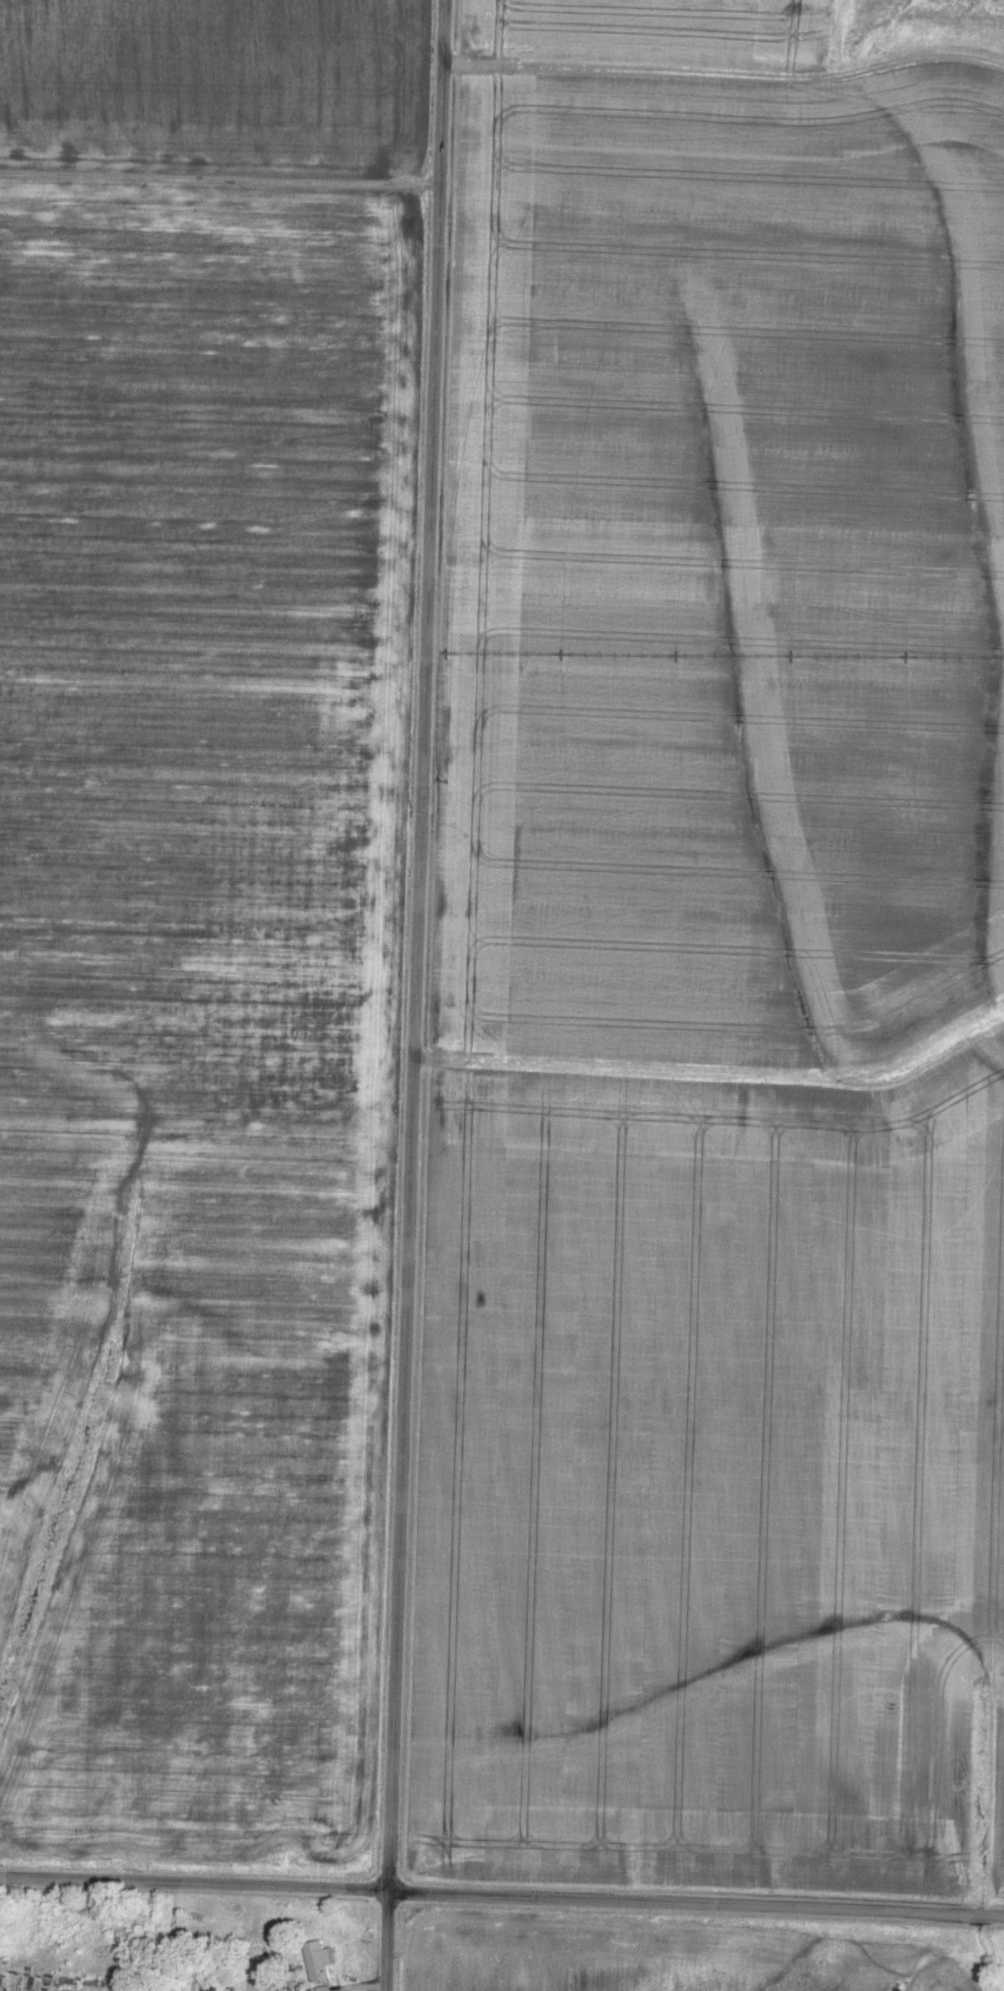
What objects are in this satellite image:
road: (723, 75)
road: (414, 995)
road: (502, 1892)
road: (351, 1988)

